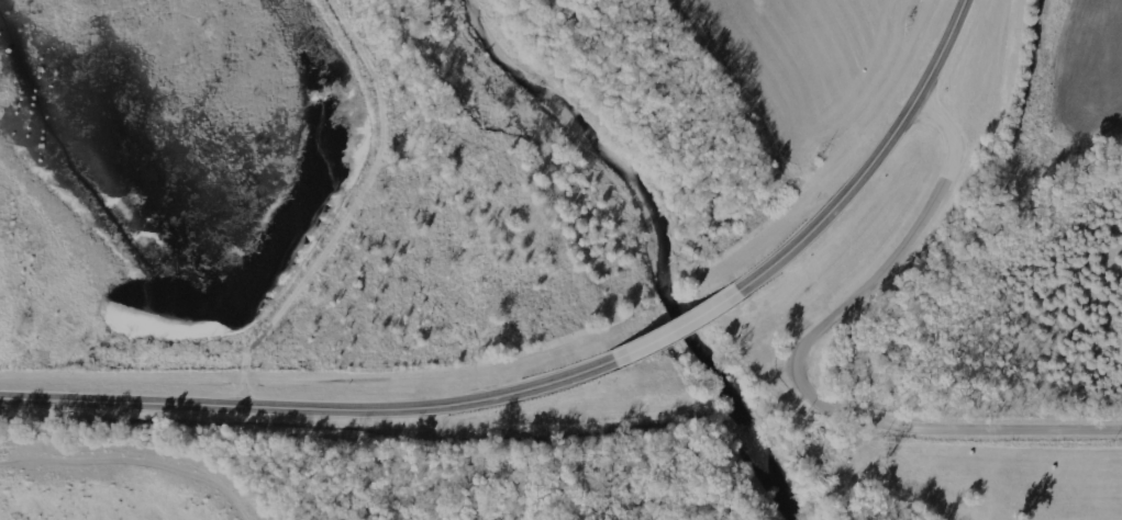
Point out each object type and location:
road: (874, 160)
road: (684, 330)
road: (791, 368)
road: (313, 409)

